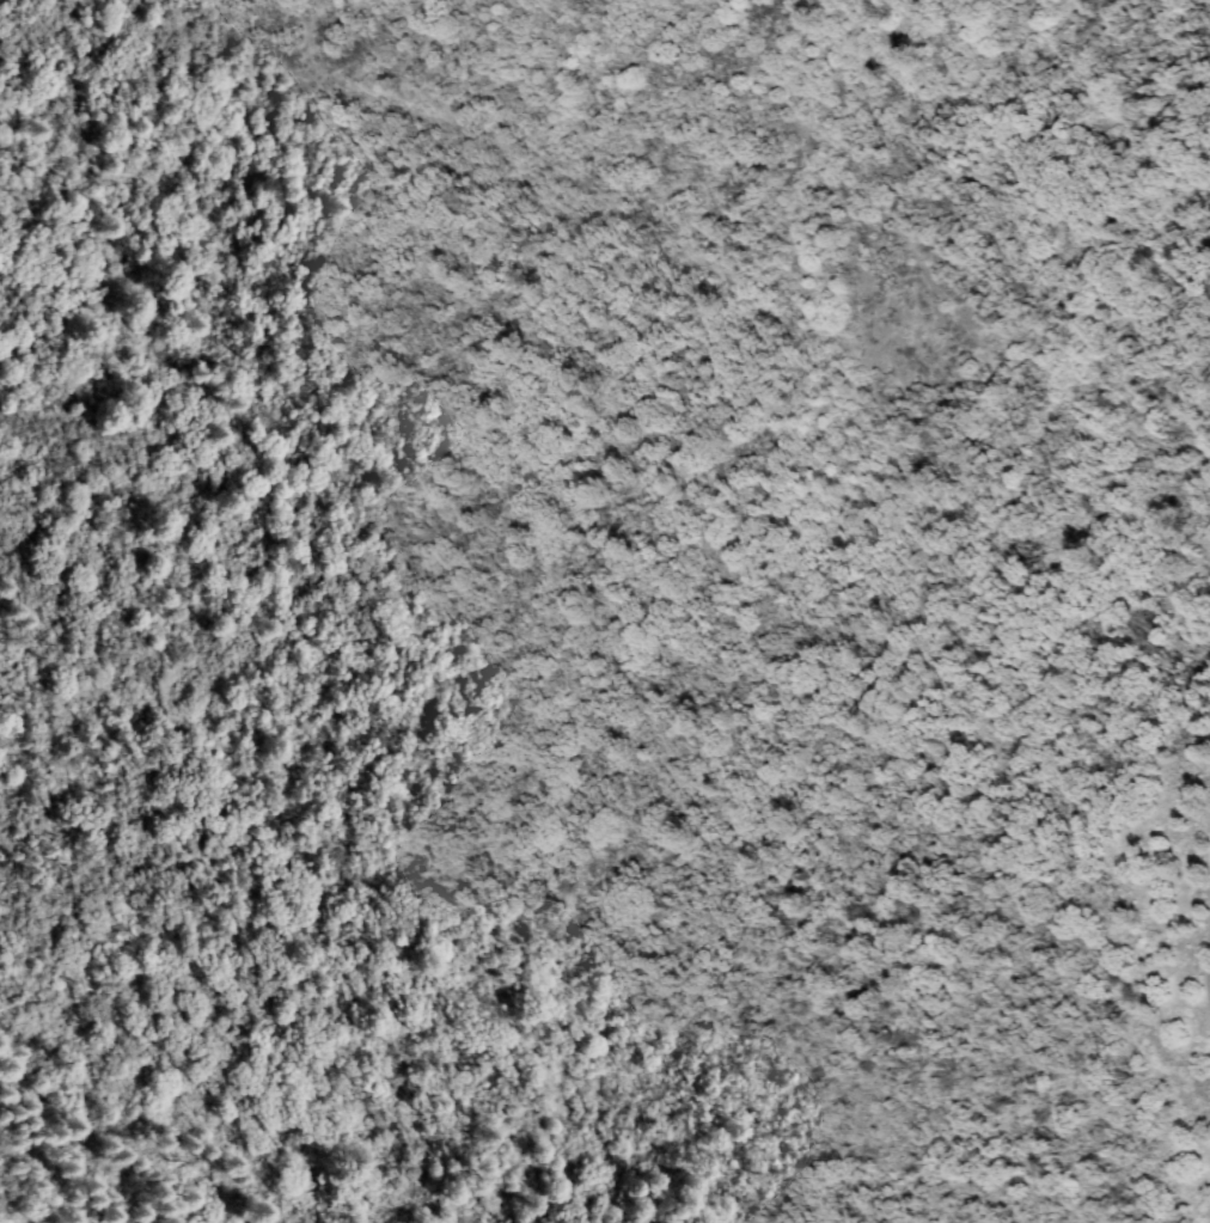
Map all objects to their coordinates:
road: (1199, 965)

